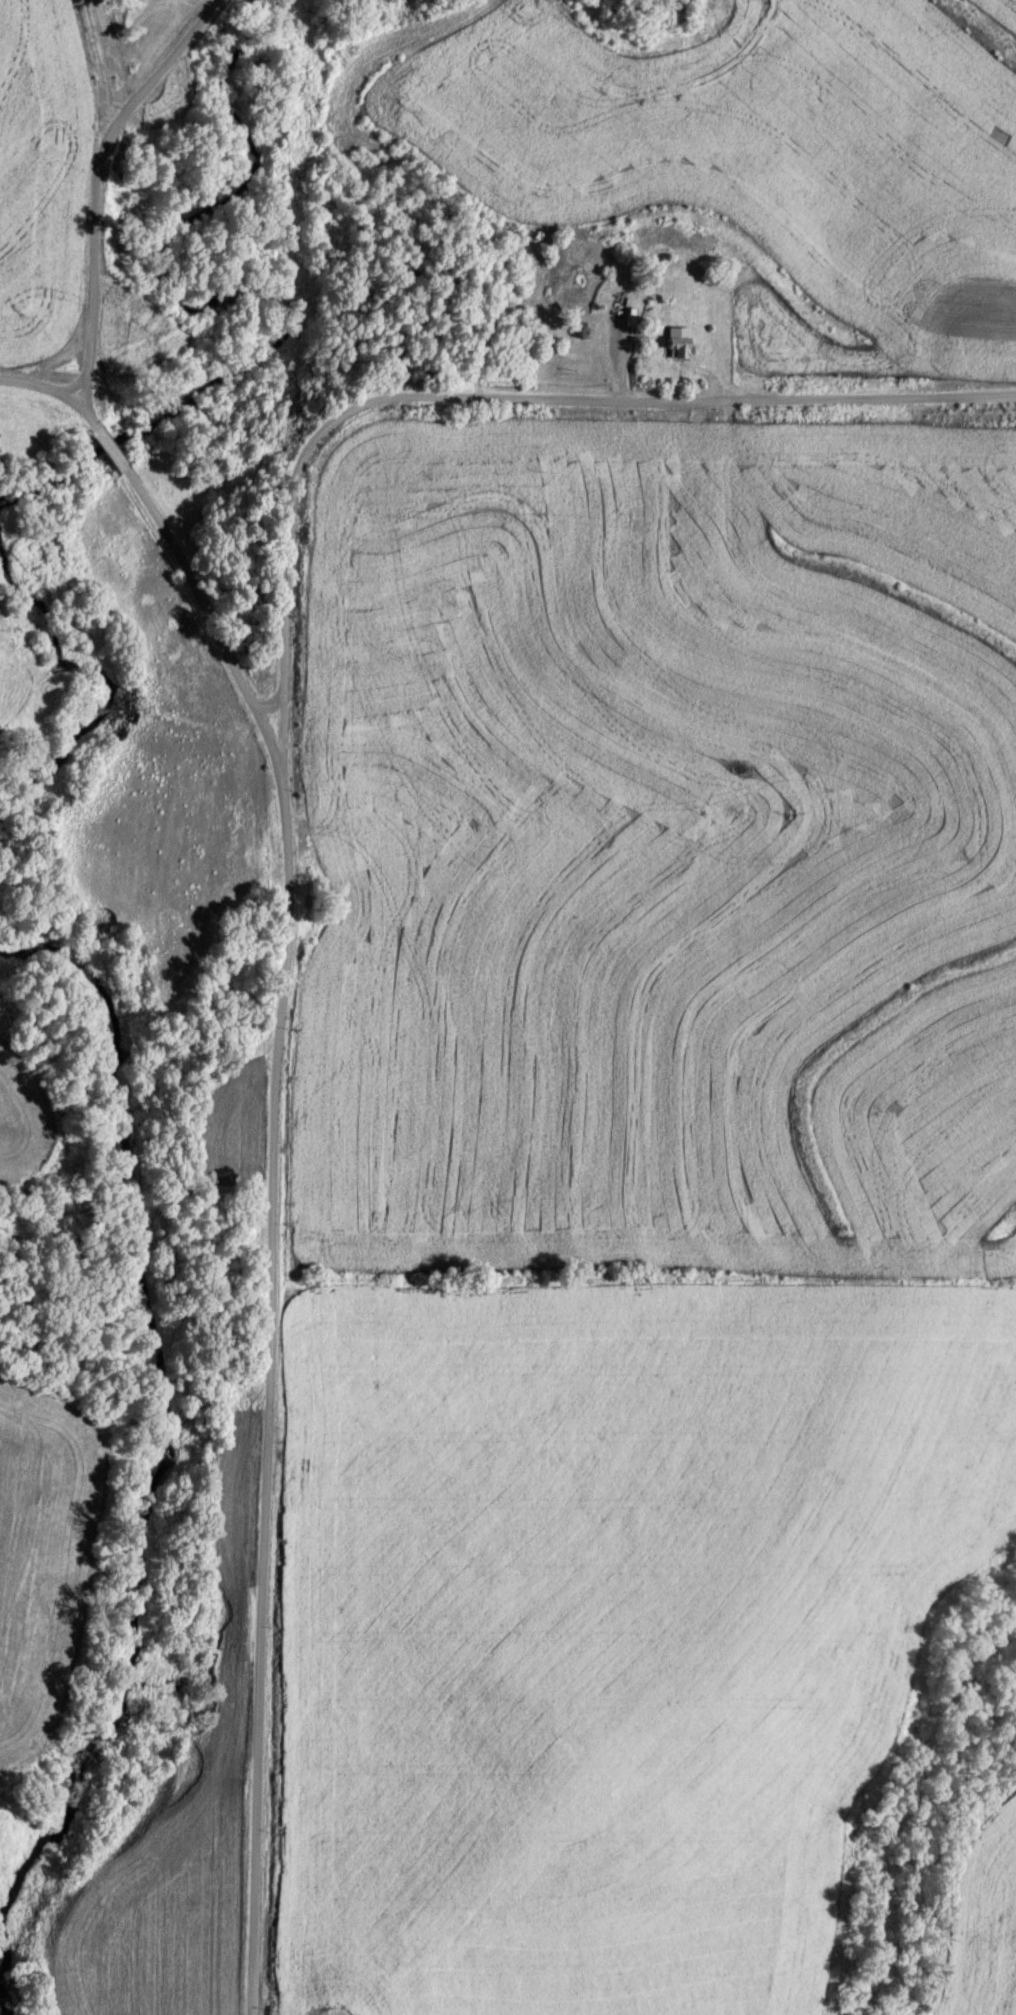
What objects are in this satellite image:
road: (91, 181)
building: (671, 338)
road: (40, 381)
road: (671, 395)
road: (85, 412)
road: (107, 444)
road: (283, 578)
road: (267, 699)
road: (267, 1220)

